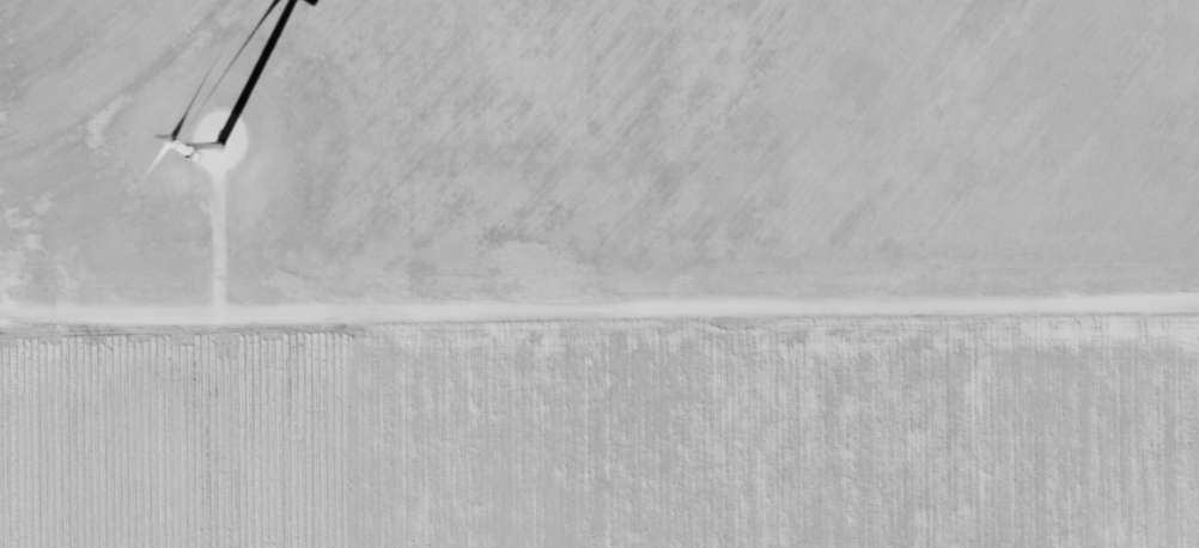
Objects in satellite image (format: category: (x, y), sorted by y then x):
wind turbine: (217, 148)

